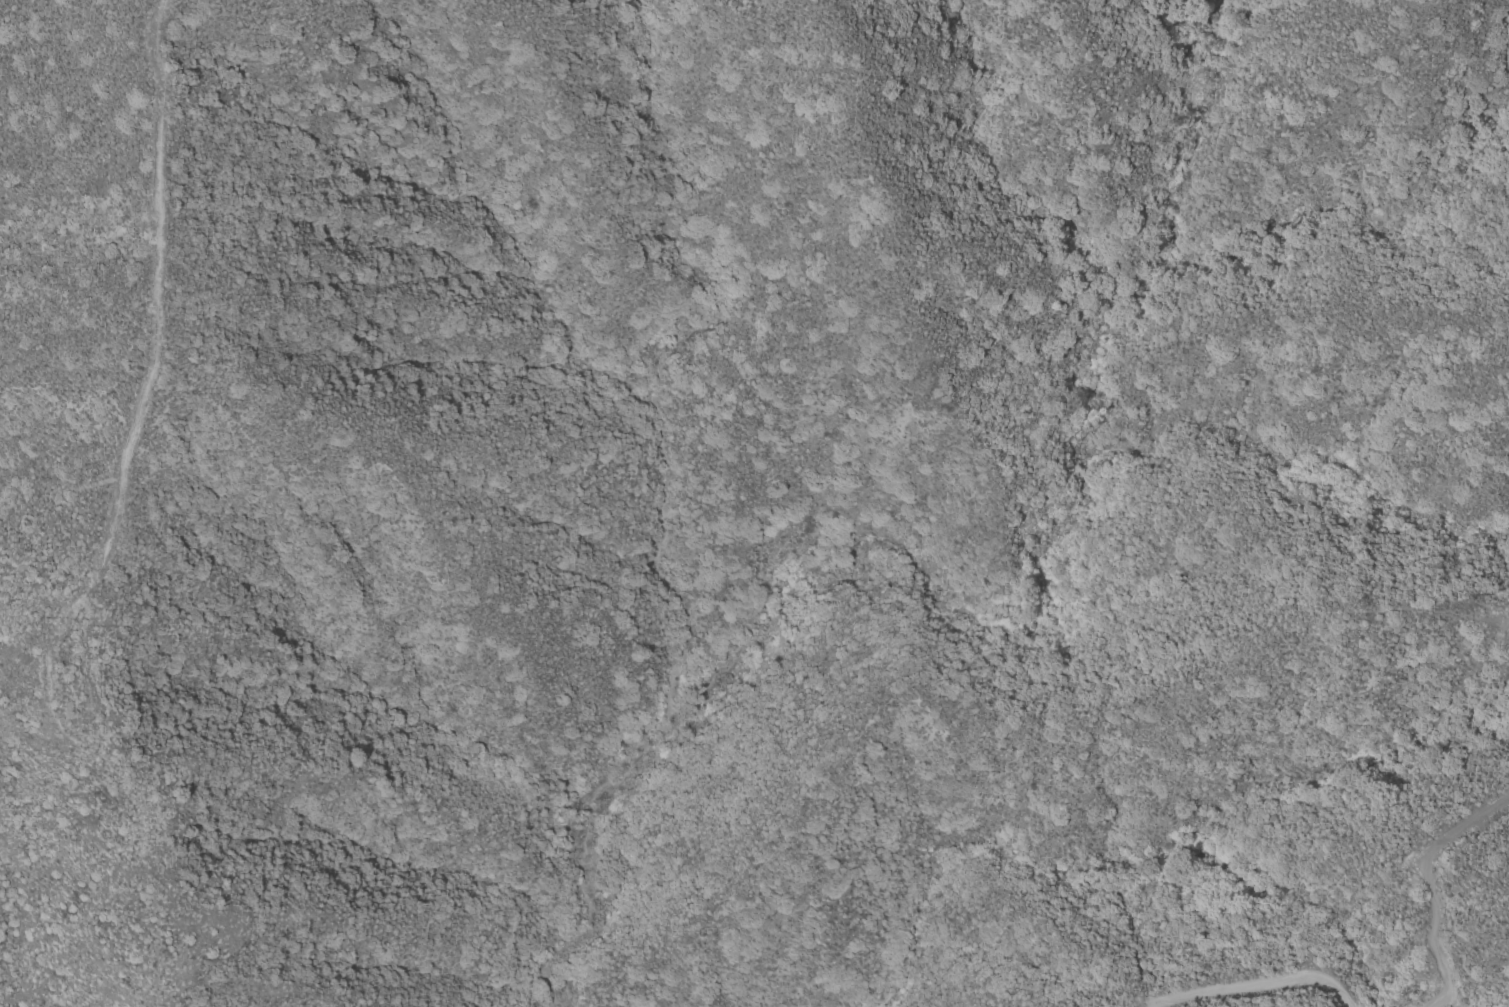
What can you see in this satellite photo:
building: (1474, 607)
power tower: (1357, 608)
road: (1427, 614)
road: (1428, 883)
road: (1252, 983)

